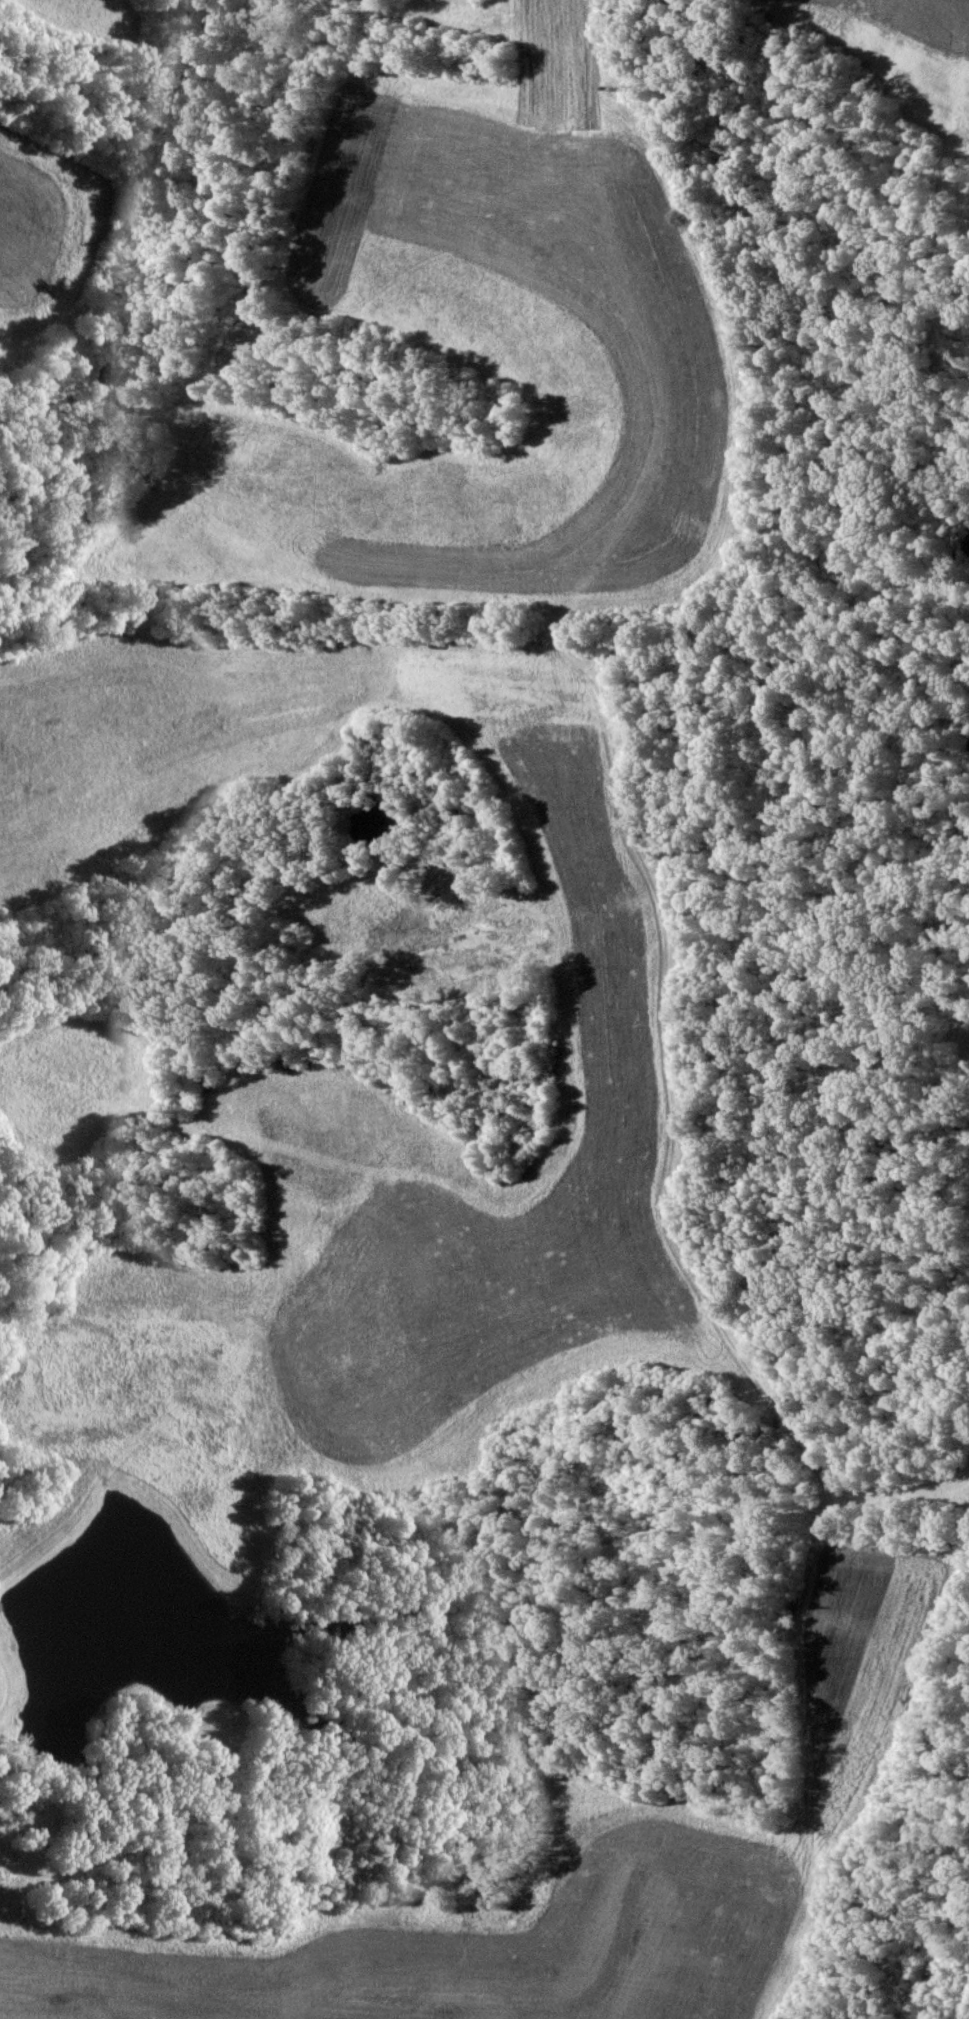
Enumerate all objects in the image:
building: (209, 1435)
road: (95, 1492)
road: (815, 1910)

